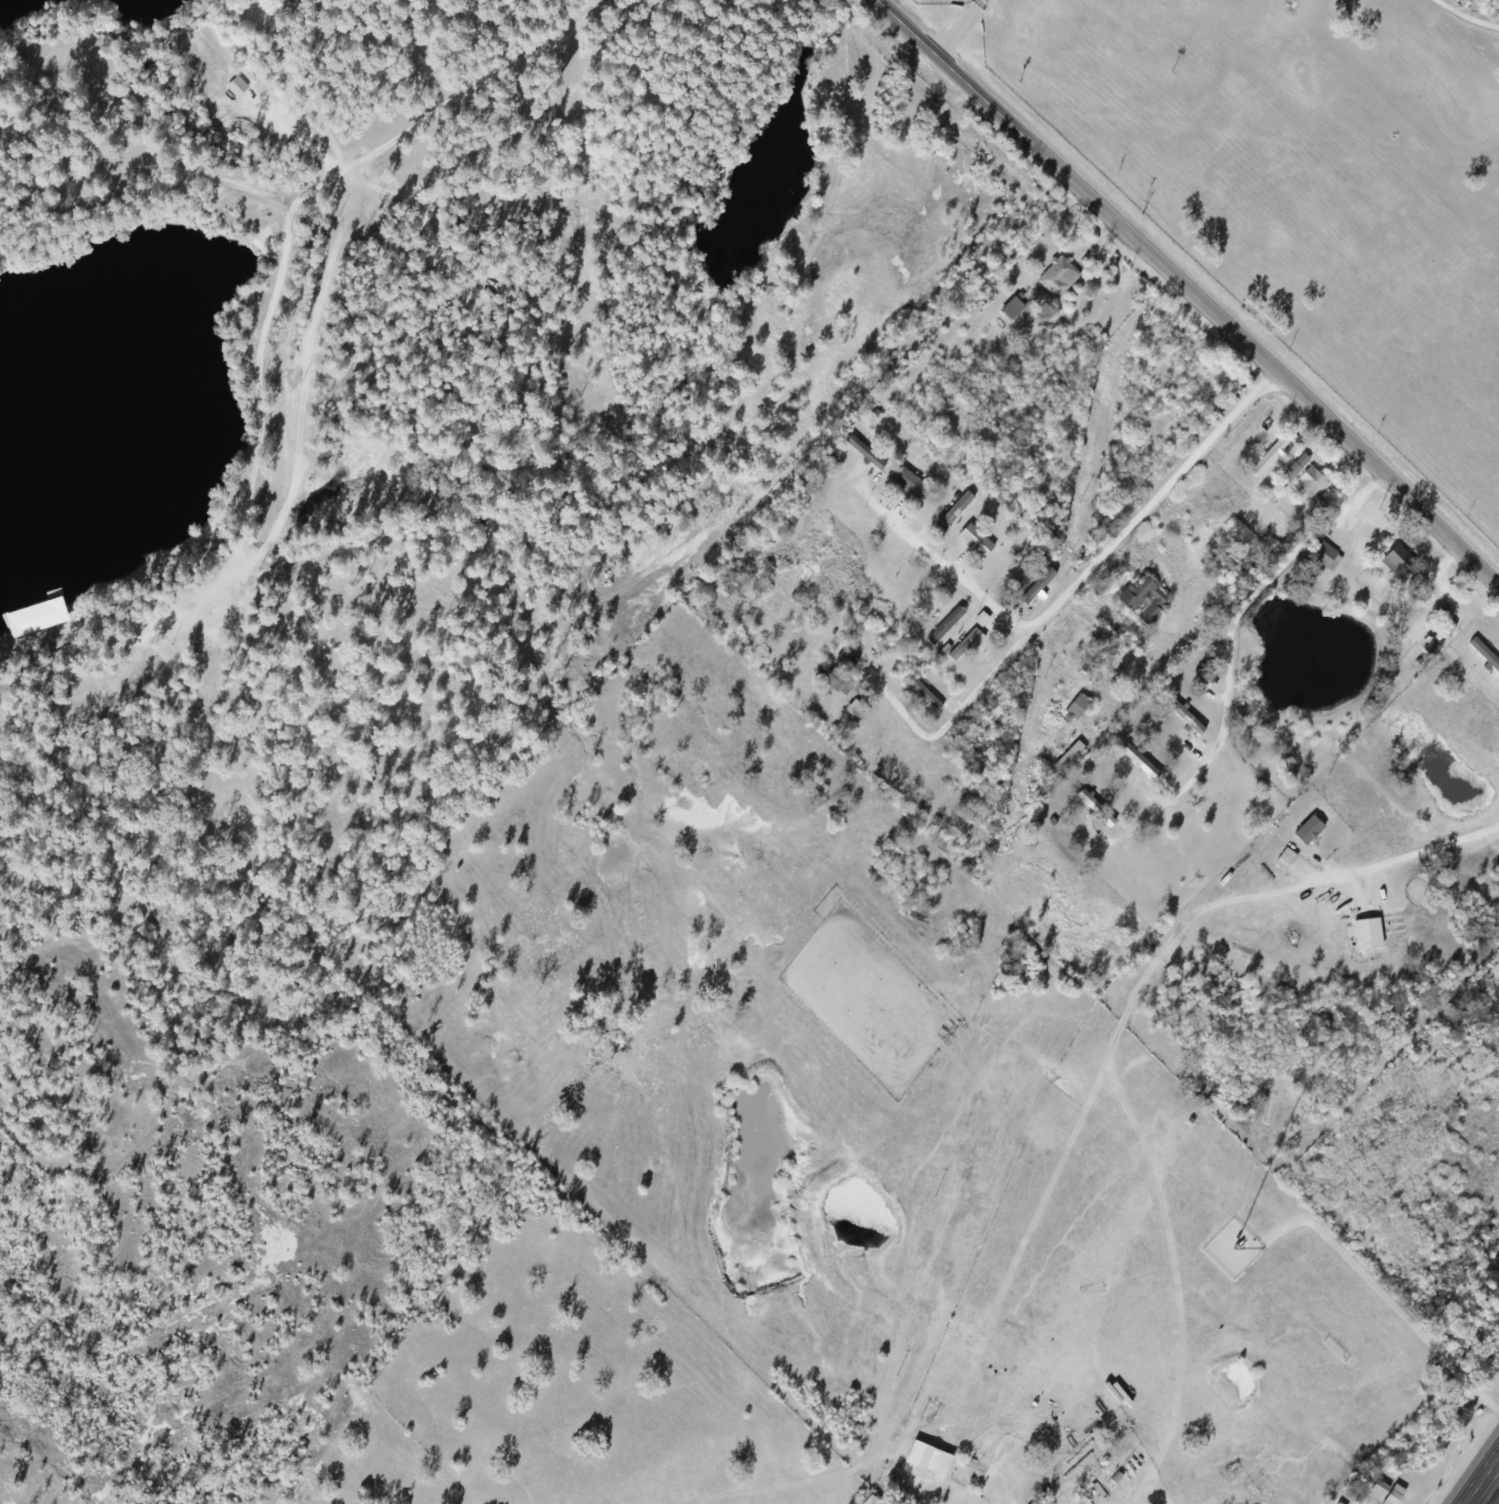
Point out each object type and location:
road: (957, 27)
road: (311, 198)
road: (66, 249)
building: (1056, 278)
road: (1189, 292)
building: (1011, 310)
building: (1268, 458)
building: (1310, 482)
building: (985, 539)
building: (1323, 557)
building: (1397, 565)
road: (1093, 578)
building: (1143, 603)
building: (944, 627)
building: (1102, 637)
building: (1437, 639)
building: (844, 662)
building: (837, 684)
building: (1076, 708)
building: (1184, 719)
building: (1068, 759)
building: (1139, 764)
building: (1095, 810)
building: (1307, 832)
building: (1285, 860)
building: (937, 1464)
road: (1484, 1483)
building: (1092, 1487)

